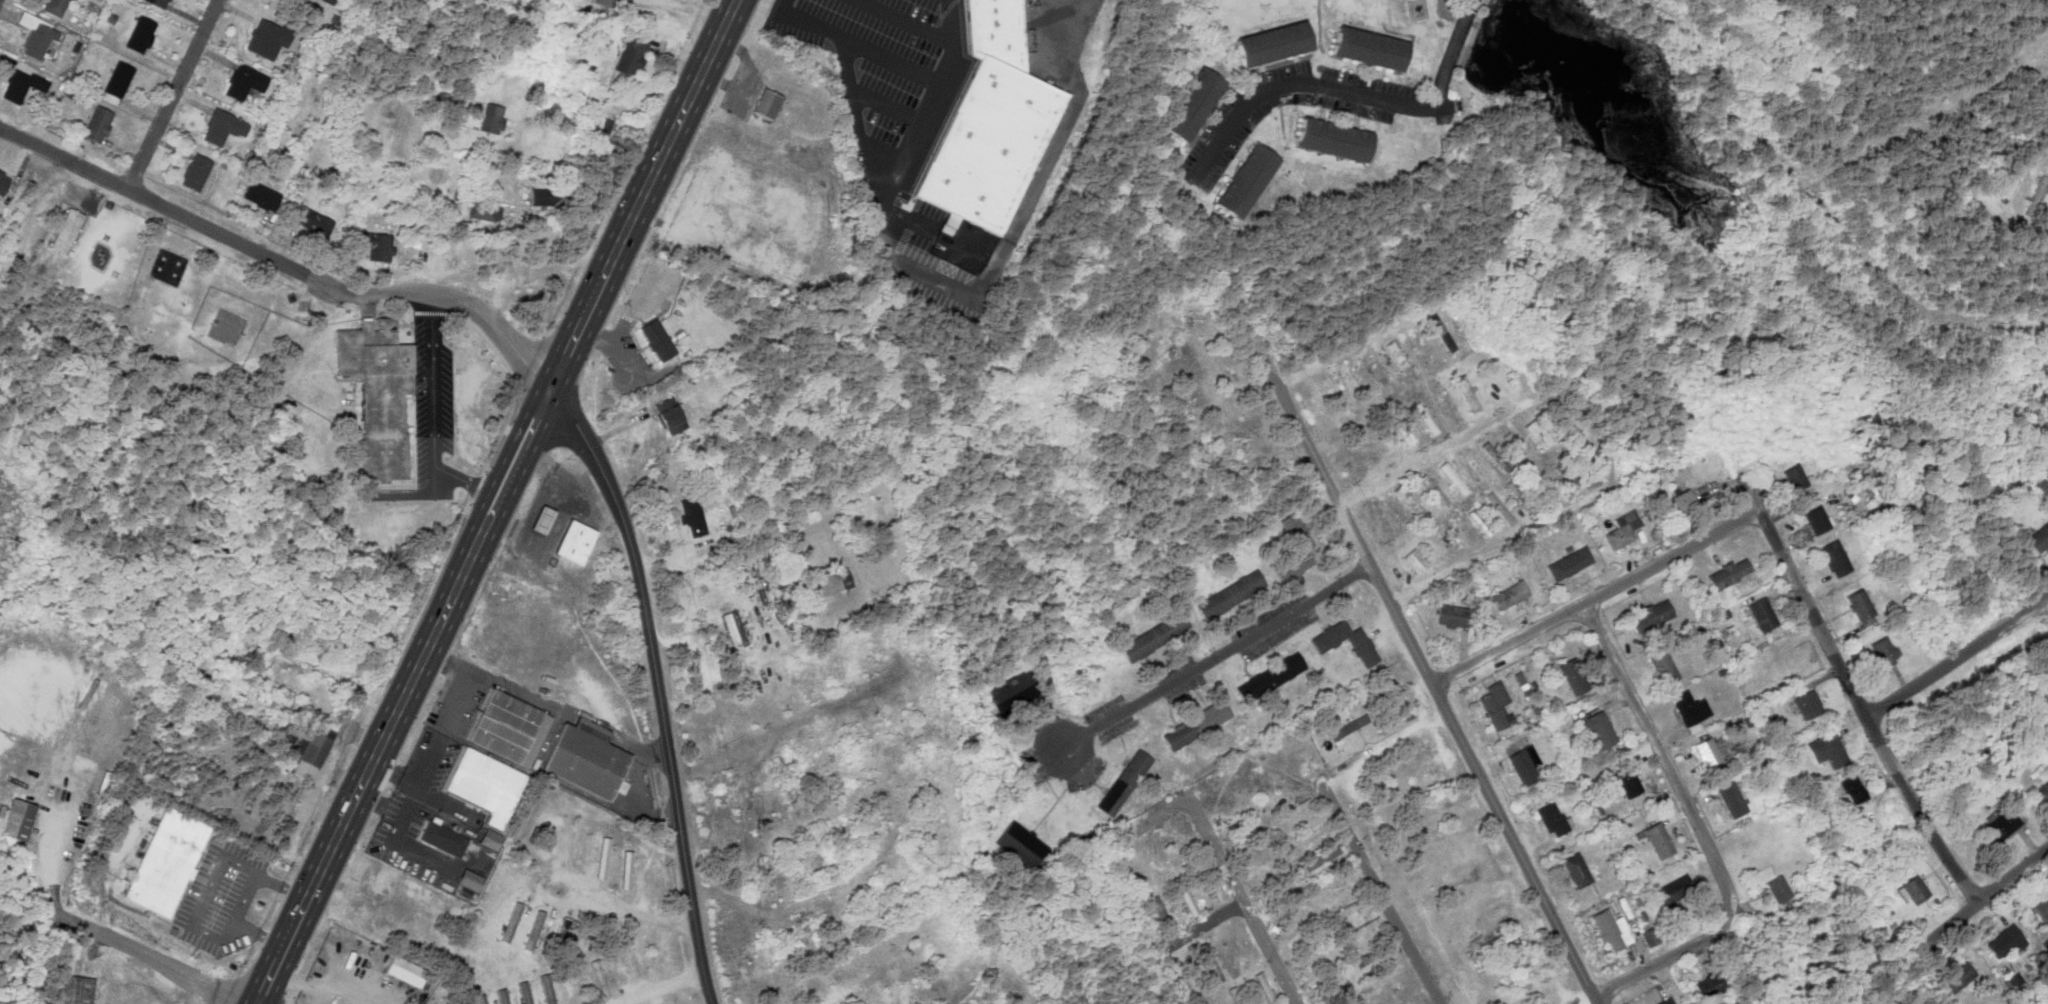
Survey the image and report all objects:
building: (159, 2)
building: (606, 2)
building: (277, 4)
dam: (1499, 6)
building: (55, 7)
building: (140, 34)
building: (36, 35)
building: (267, 39)
dam: (1482, 39)
building: (1273, 43)
building: (1369, 48)
road: (1452, 55)
building: (631, 57)
road: (1300, 81)
building: (116, 82)
building: (244, 82)
building: (21, 85)
road: (175, 94)
building: (767, 104)
building: (1192, 104)
building: (492, 119)
building: (990, 121)
building: (97, 124)
building: (223, 127)
building: (605, 130)
building: (1333, 139)
road: (882, 148)
building: (196, 172)
building: (2015, 177)
building: (1245, 181)
building: (3, 182)
building: (2037, 195)
building: (261, 196)
building: (548, 197)
building: (484, 210)
building: (951, 220)
building: (313, 221)
building: (66, 231)
building: (376, 245)
road: (286, 264)
building: (1440, 332)
building: (657, 340)
building: (1420, 345)
road: (1344, 347)
building: (1397, 357)
building: (1379, 371)
building: (1353, 379)
building: (379, 392)
building: (1331, 392)
building: (1469, 393)
building: (1446, 403)
building: (670, 415)
building: (1424, 418)
building: (1539, 433)
building: (1404, 434)
road: (1599, 435)
building: (1495, 456)
building: (1475, 465)
building: (1453, 478)
building: (1794, 478)
road: (496, 501)
building: (1680, 502)
building: (1410, 503)
building: (1500, 508)
building: (692, 516)
building: (541, 520)
building: (1816, 520)
building: (1479, 521)
building: (1623, 530)
building: (2036, 540)
building: (575, 542)
building: (1296, 549)
building: (1835, 558)
building: (1415, 561)
building: (1569, 563)
building: (1729, 573)
building: (833, 582)
building: (1229, 595)
building: (1509, 595)
road: (1597, 596)
building: (1860, 605)
building: (1763, 614)
building: (1653, 615)
building: (1450, 617)
building: (734, 629)
road: (1406, 633)
building: (1145, 642)
building: (1361, 646)
building: (1884, 651)
road: (1216, 652)
road: (1962, 659)
road: (1842, 662)
building: (1663, 666)
building: (1285, 668)
building: (1572, 677)
building: (1522, 683)
building: (1253, 686)
road: (659, 691)
building: (1393, 692)
building: (1011, 693)
building: (1809, 704)
building: (1495, 705)
building: (1690, 708)
building: (1356, 715)
building: (1196, 724)
road: (796, 727)
building: (510, 728)
building: (1598, 728)
building: (324, 731)
building: (303, 750)
building: (1829, 750)
building: (1711, 751)
building: (1408, 757)
road: (1662, 758)
building: (587, 759)
building: (1525, 764)
building: (1418, 781)
building: (1123, 782)
building: (1628, 784)
building: (485, 786)
building: (1854, 789)
building: (2041, 794)
building: (1732, 799)
building: (1298, 806)
road: (901, 813)
building: (17, 819)
building: (1554, 819)
building: (2000, 825)
building: (1307, 833)
building: (555, 834)
building: (1172, 836)
building: (443, 839)
building: (491, 839)
building: (1655, 839)
building: (1022, 845)
building: (603, 858)
building: (1321, 858)
building: (167, 861)
building: (626, 869)
building: (1263, 869)
building: (1577, 869)
building: (1325, 887)
building: (1216, 889)
building: (1675, 889)
building: (1779, 889)
building: (1911, 889)
road: (1381, 890)
road: (1985, 890)
road: (612, 897)
building: (1187, 899)
road: (1242, 901)
building: (1342, 911)
building: (1160, 913)
building: (1299, 913)
building: (511, 922)
building: (1363, 928)
building: (1611, 929)
building: (534, 930)
building: (1649, 937)
building: (2005, 941)
road: (147, 954)
road: (1666, 956)
building: (1210, 962)
building: (1319, 962)
building: (405, 971)
building: (1958, 977)
building: (2015, 981)
building: (1337, 985)
building: (1710, 986)
road: (658, 987)
building: (1265, 988)
building: (547, 989)
building: (73, 990)
building: (525, 992)
building: (1235, 995)
building: (501, 996)
building: (1205, 998)
building: (480, 999)
building: (1362, 1000)
building: (1667, 1001)

